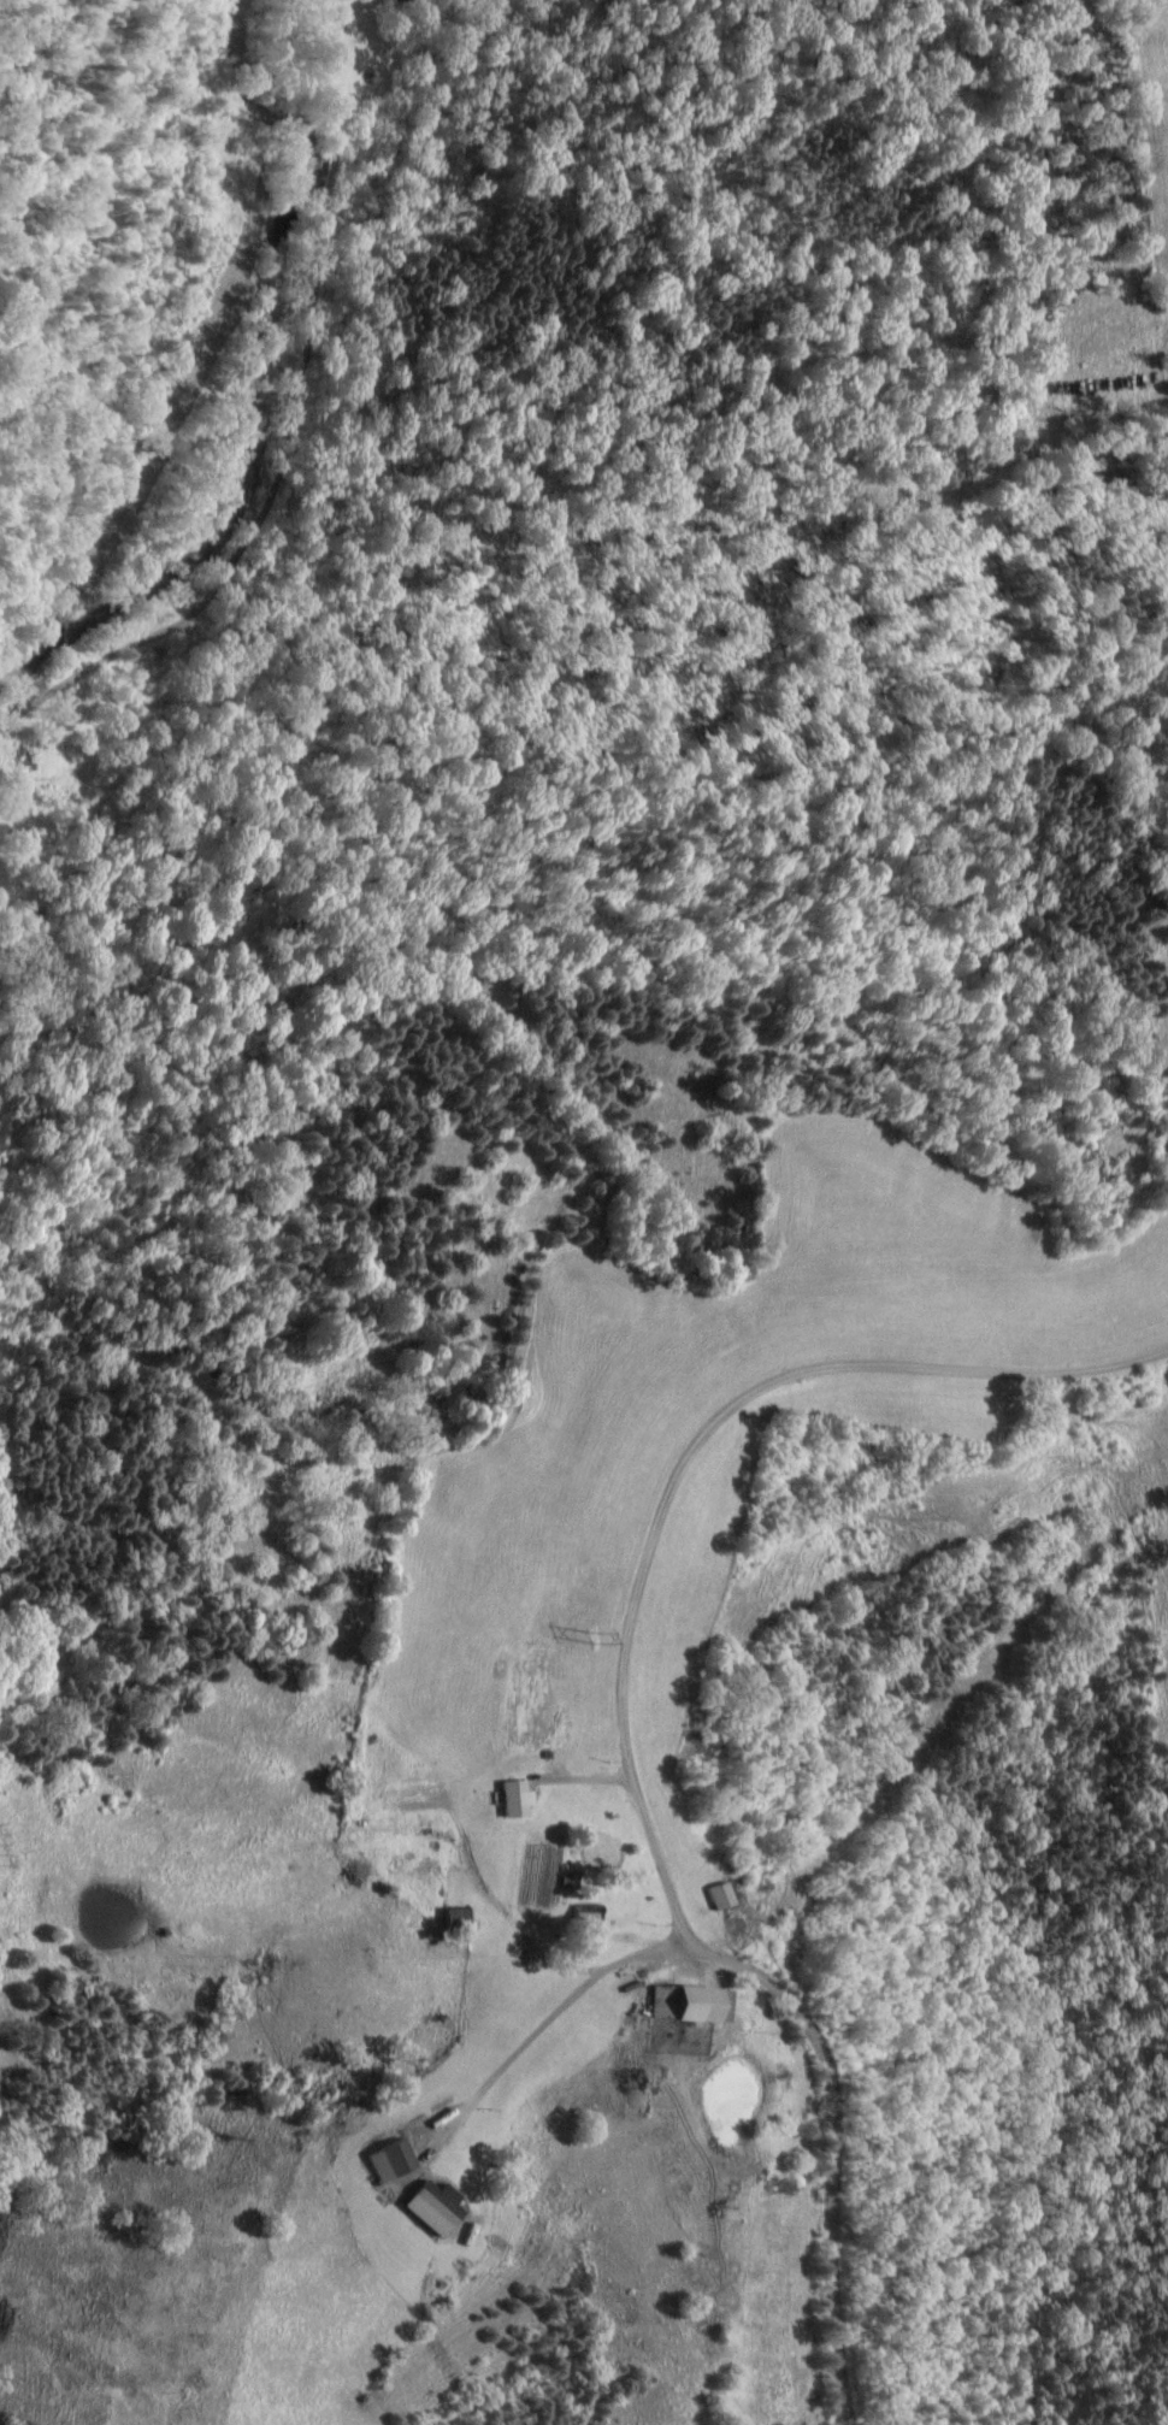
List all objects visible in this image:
road: (294, 433)
power tower: (580, 1641)
road: (621, 1719)
building: (512, 1800)
building: (714, 1898)
building: (455, 1918)
building: (659, 2001)
building: (697, 2004)
road: (547, 2024)
building: (387, 2161)
building: (430, 2207)

